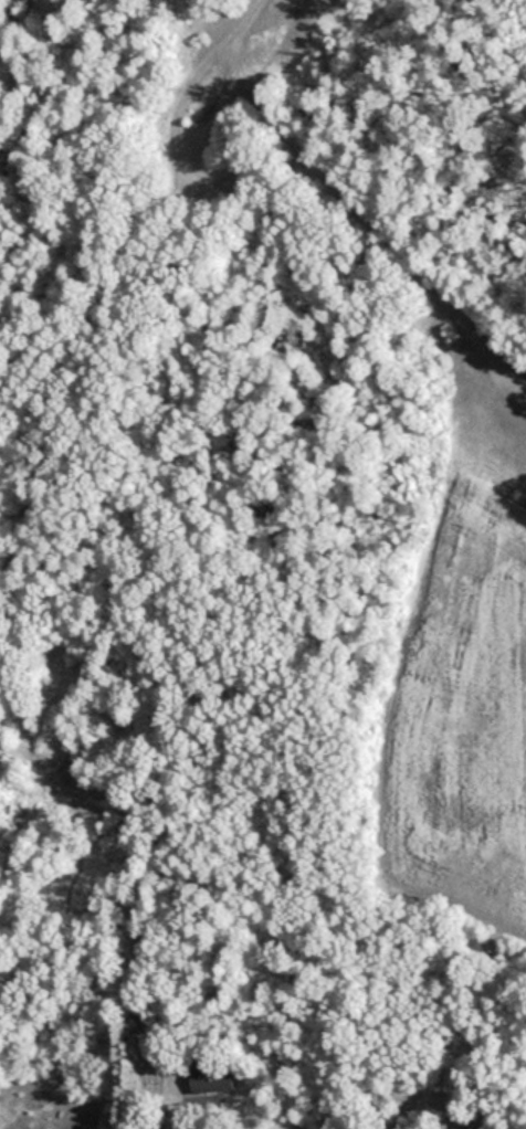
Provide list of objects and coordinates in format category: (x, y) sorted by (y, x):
building: (206, 1080)

